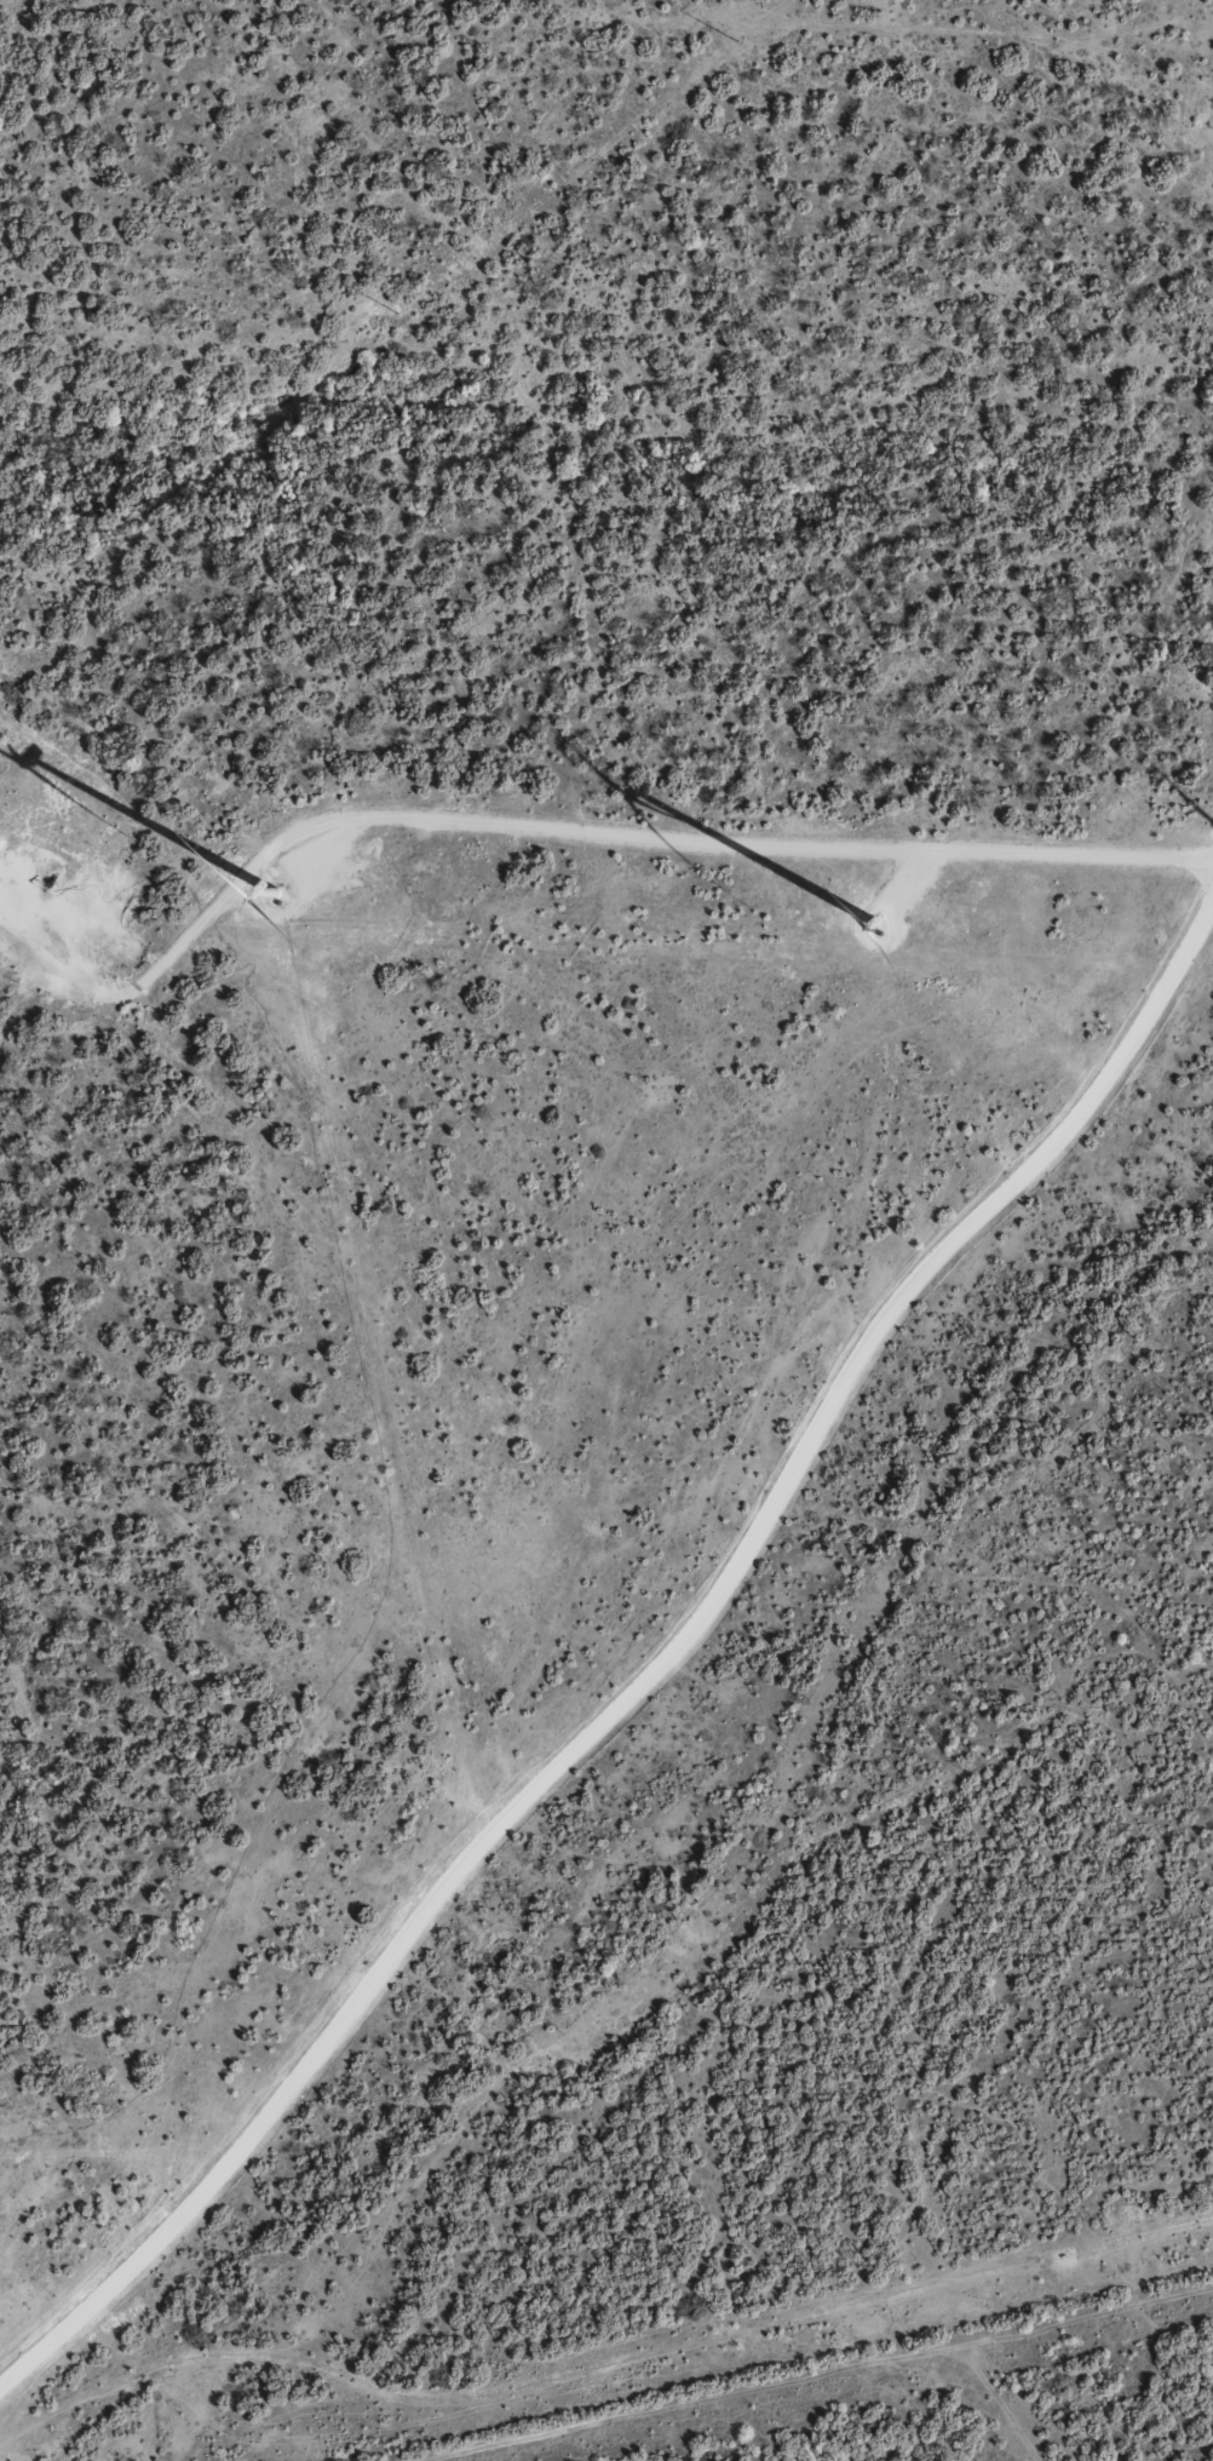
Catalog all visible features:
power tower: (737, 44)
power tower: (398, 311)
wind turbine: (312, 884)
wind turbine: (870, 920)
road: (662, 1682)

